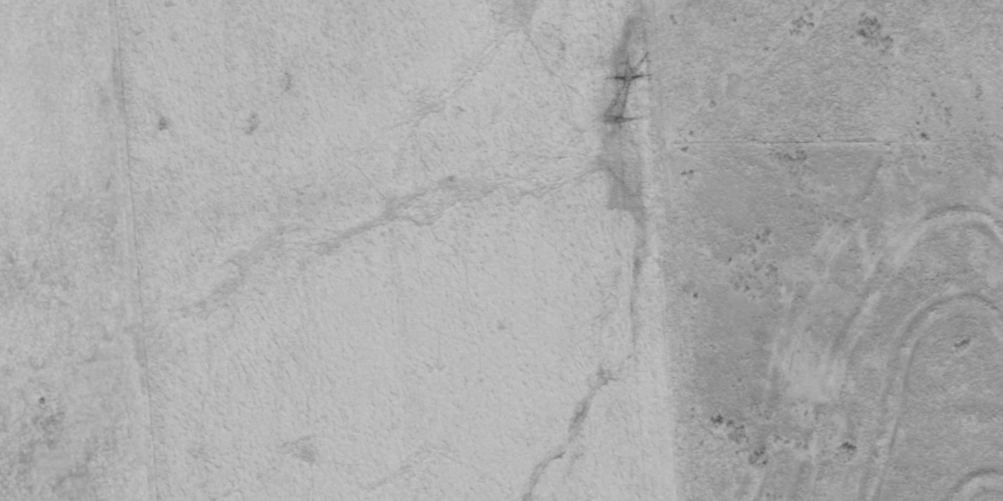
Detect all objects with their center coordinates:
power tower: (610, 118)

